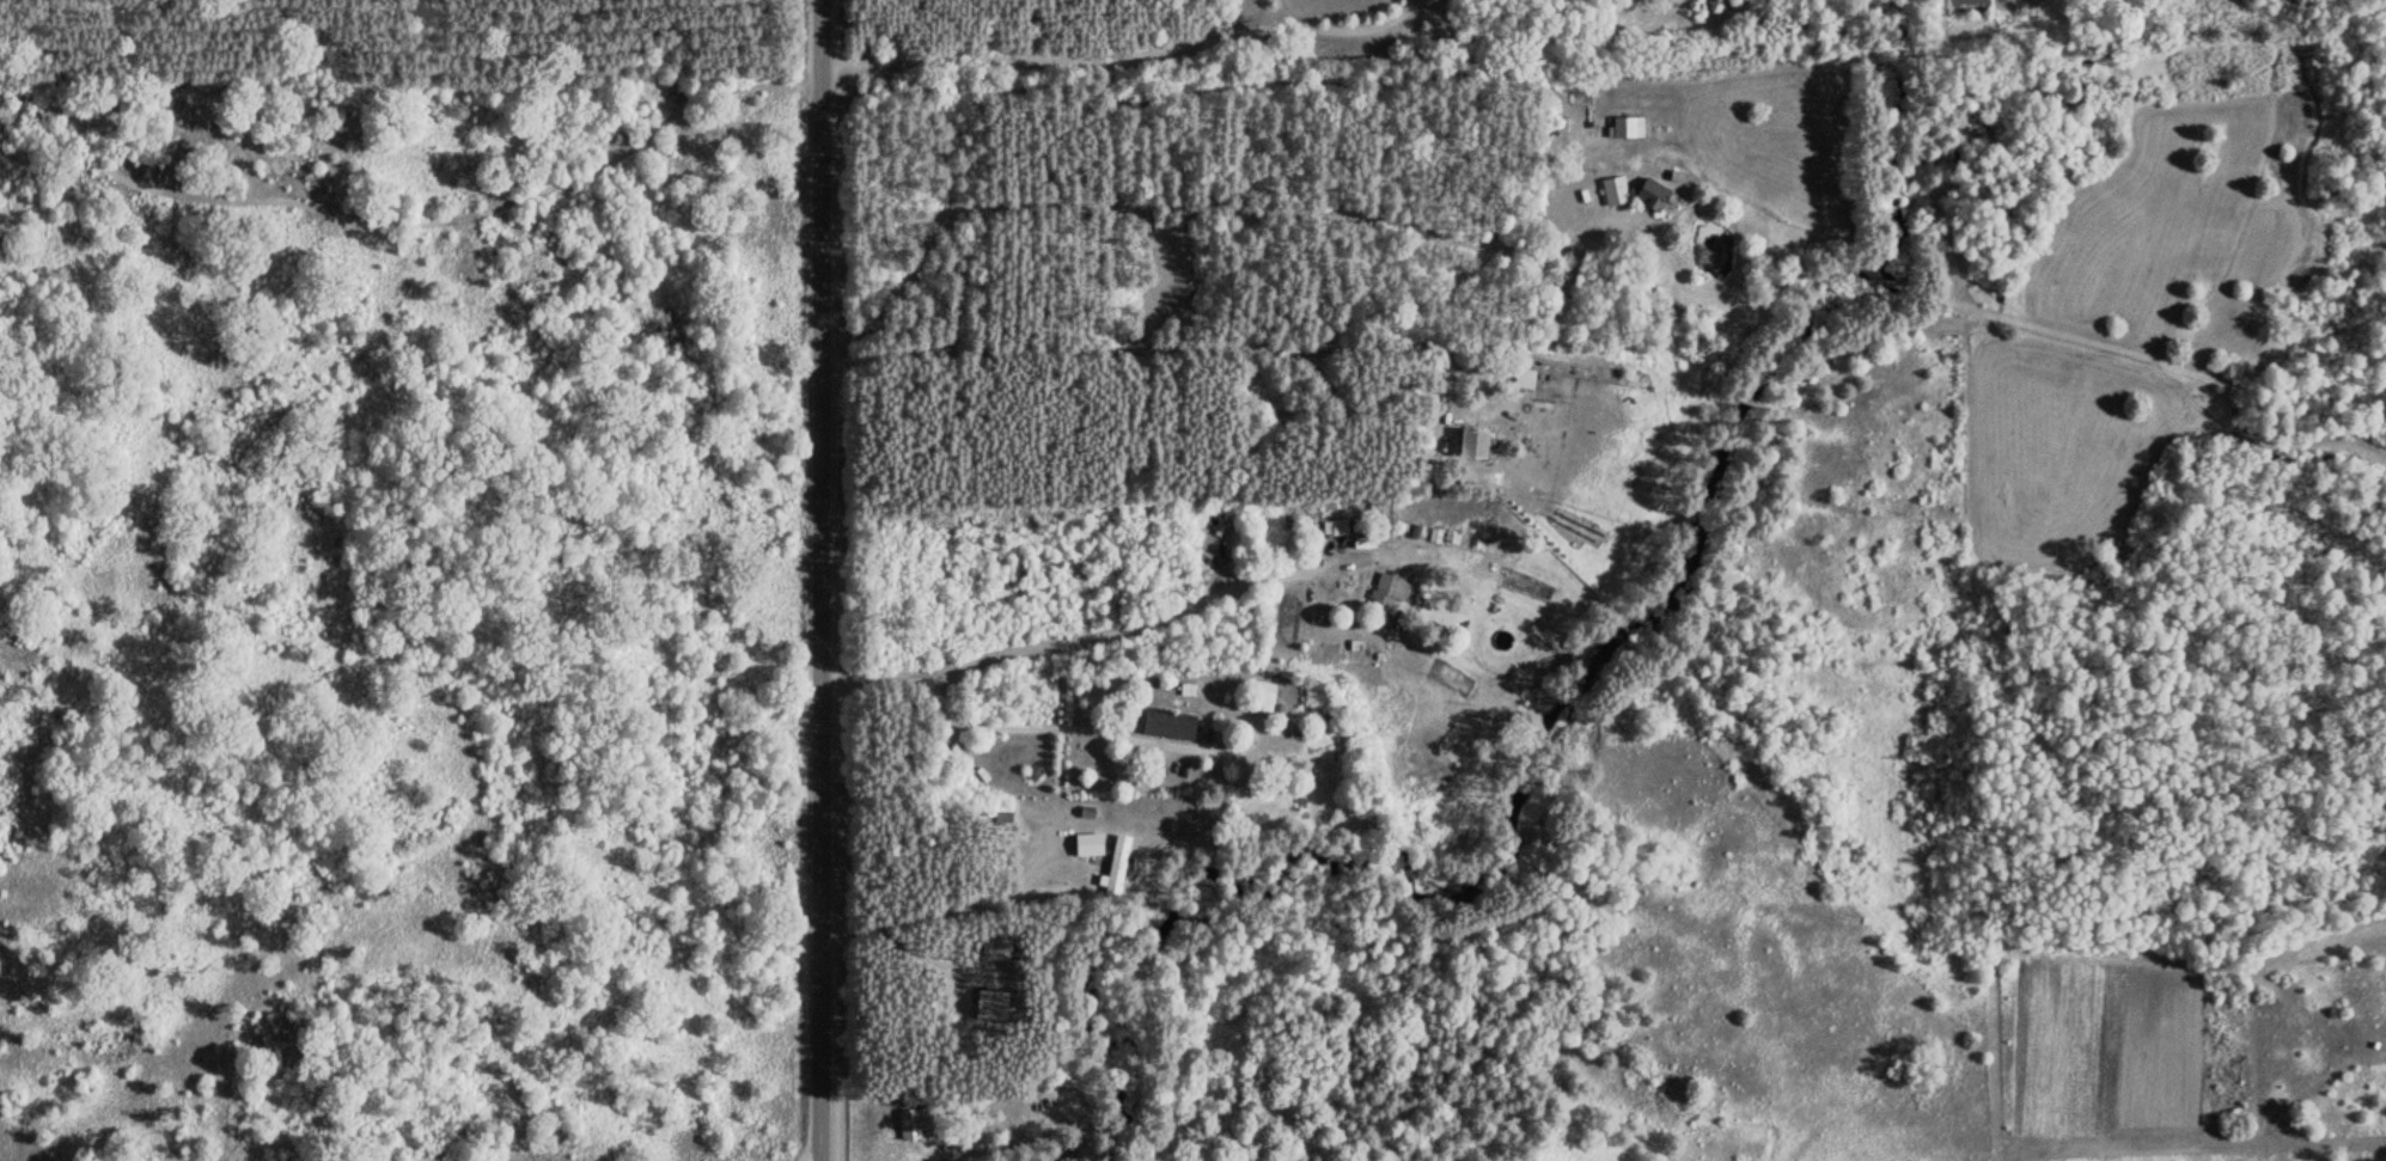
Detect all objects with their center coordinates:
road: (1225, 37)
building: (1623, 127)
building: (1628, 193)
road: (1225, 204)
building: (1520, 378)
building: (1469, 442)
building: (1331, 527)
road: (817, 580)
building: (1384, 593)
road: (1094, 634)
building: (1259, 697)
building: (1165, 725)
building: (1084, 845)

